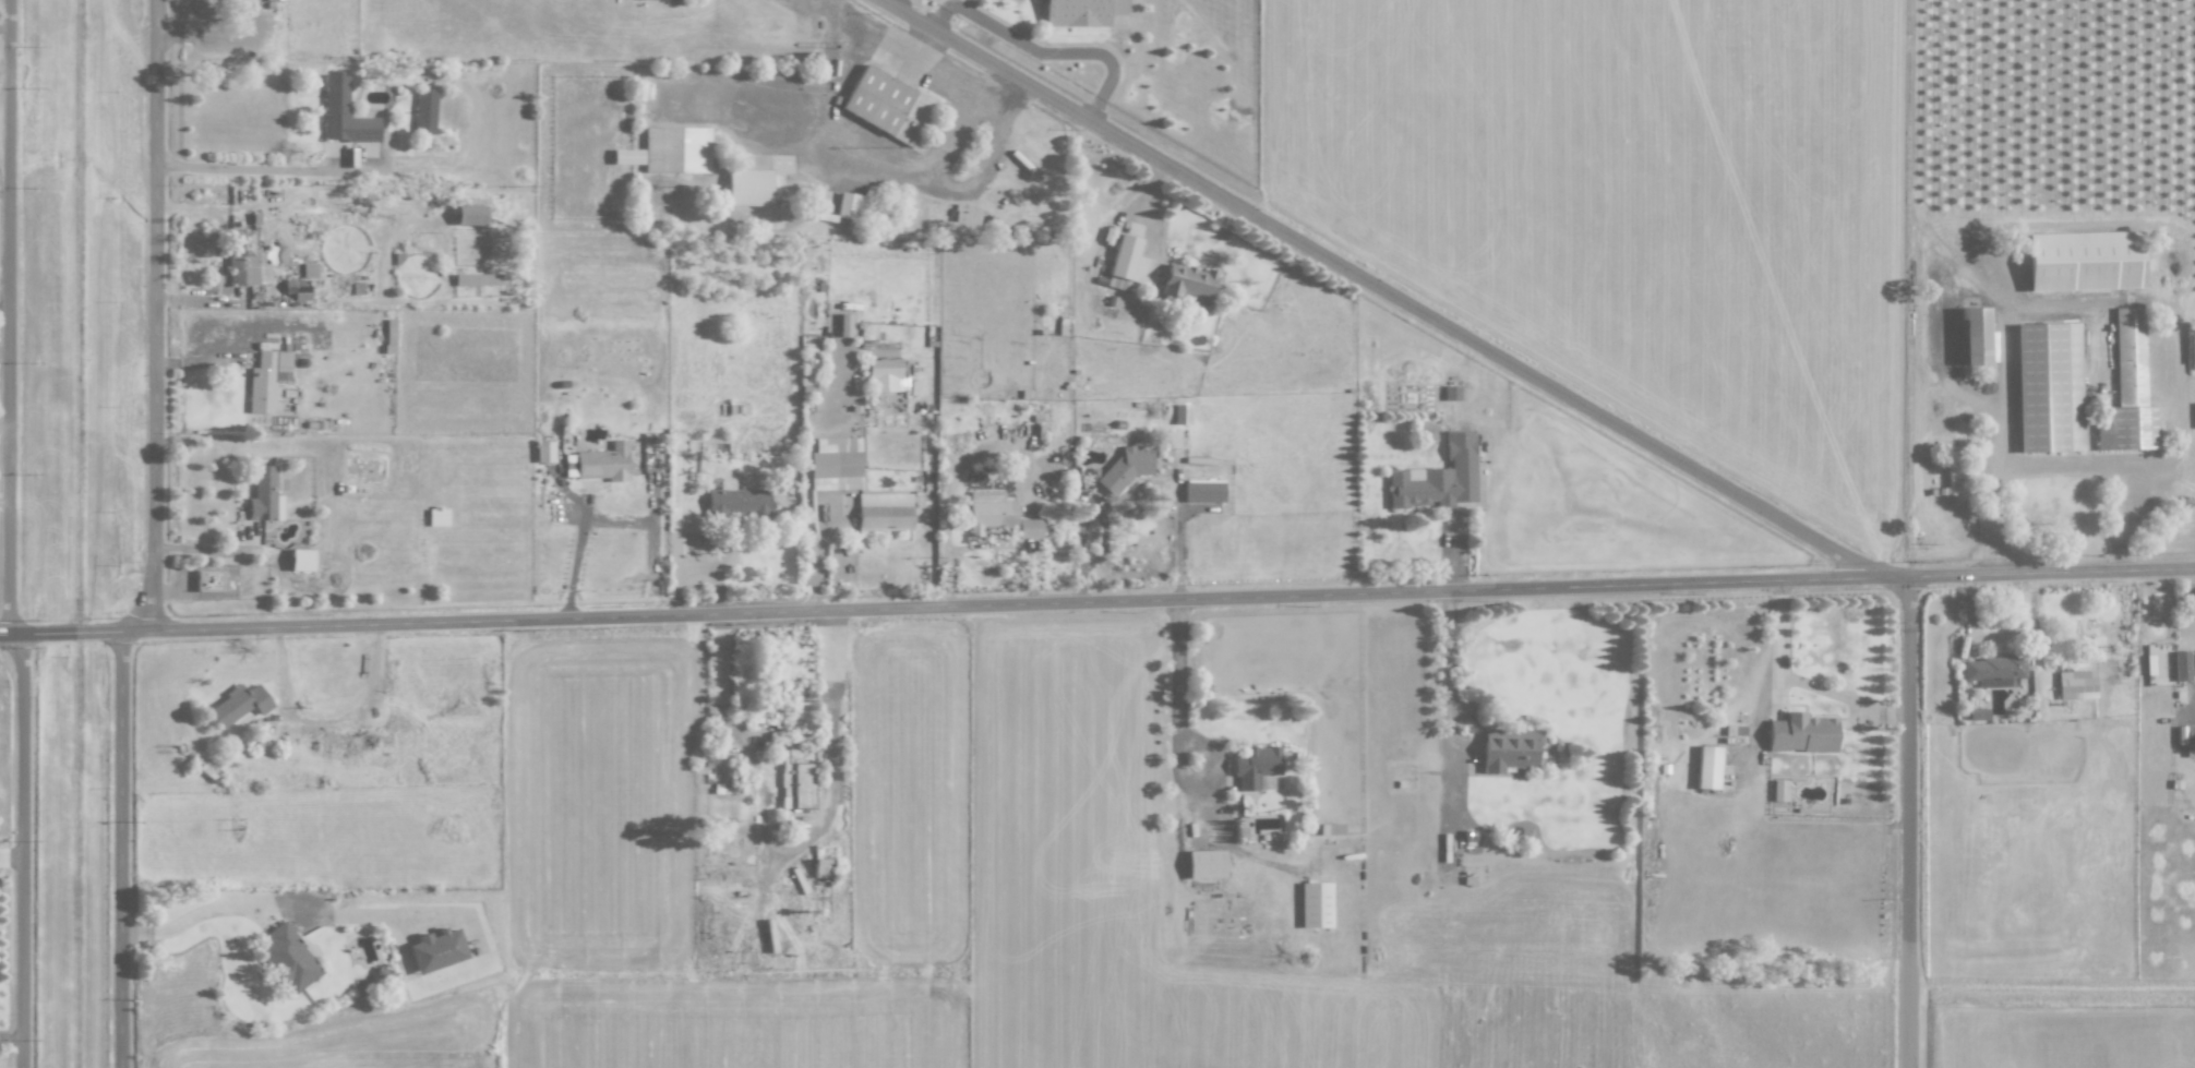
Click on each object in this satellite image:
building: (274, 0)
building: (644, 0)
road: (887, 1)
building: (1080, 12)
road: (940, 19)
road: (1055, 52)
building: (887, 105)
building: (424, 110)
building: (345, 113)
building: (676, 149)
building: (627, 156)
road: (262, 168)
building: (748, 187)
road: (5, 193)
building: (847, 205)
building: (470, 214)
building: (243, 257)
building: (2083, 261)
building: (1122, 262)
building: (309, 269)
building: (1188, 284)
road: (1382, 288)
road: (5, 309)
road: (157, 314)
road: (10, 316)
building: (844, 325)
building: (1972, 336)
building: (2192, 348)
building: (884, 374)
building: (266, 380)
building: (2048, 387)
building: (2128, 388)
building: (1451, 393)
building: (1182, 413)
building: (544, 451)
building: (603, 463)
building: (836, 464)
building: (1125, 468)
building: (1438, 477)
building: (1951, 480)
building: (1203, 491)
building: (264, 495)
building: (737, 503)
road: (807, 507)
building: (885, 512)
building: (991, 512)
building: (437, 517)
building: (1029, 528)
road: (988, 544)
building: (301, 560)
road: (575, 561)
building: (209, 580)
road: (1096, 601)
building: (2181, 665)
building: (1993, 671)
building: (2076, 684)
road: (1448, 700)
building: (238, 705)
building: (1977, 713)
building: (766, 717)
building: (1801, 733)
building: (2185, 734)
building: (1509, 748)
building: (1255, 765)
building: (1707, 767)
road: (1196, 769)
building: (795, 778)
building: (1778, 790)
road: (1910, 823)
building: (1331, 829)
road: (122, 849)
road: (24, 850)
road: (785, 850)
building: (1206, 863)
building: (821, 867)
building: (1315, 904)
road: (180, 922)
building: (436, 950)
building: (287, 958)

